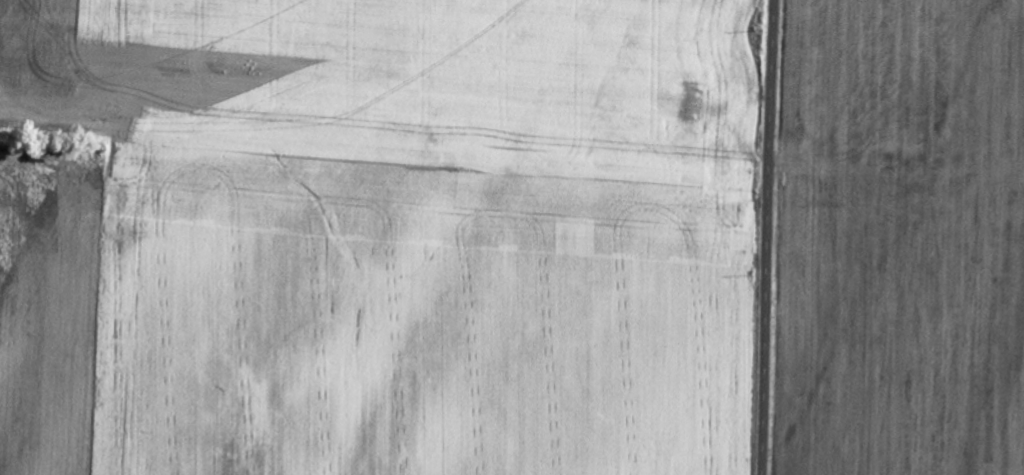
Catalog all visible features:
road: (768, 237)

